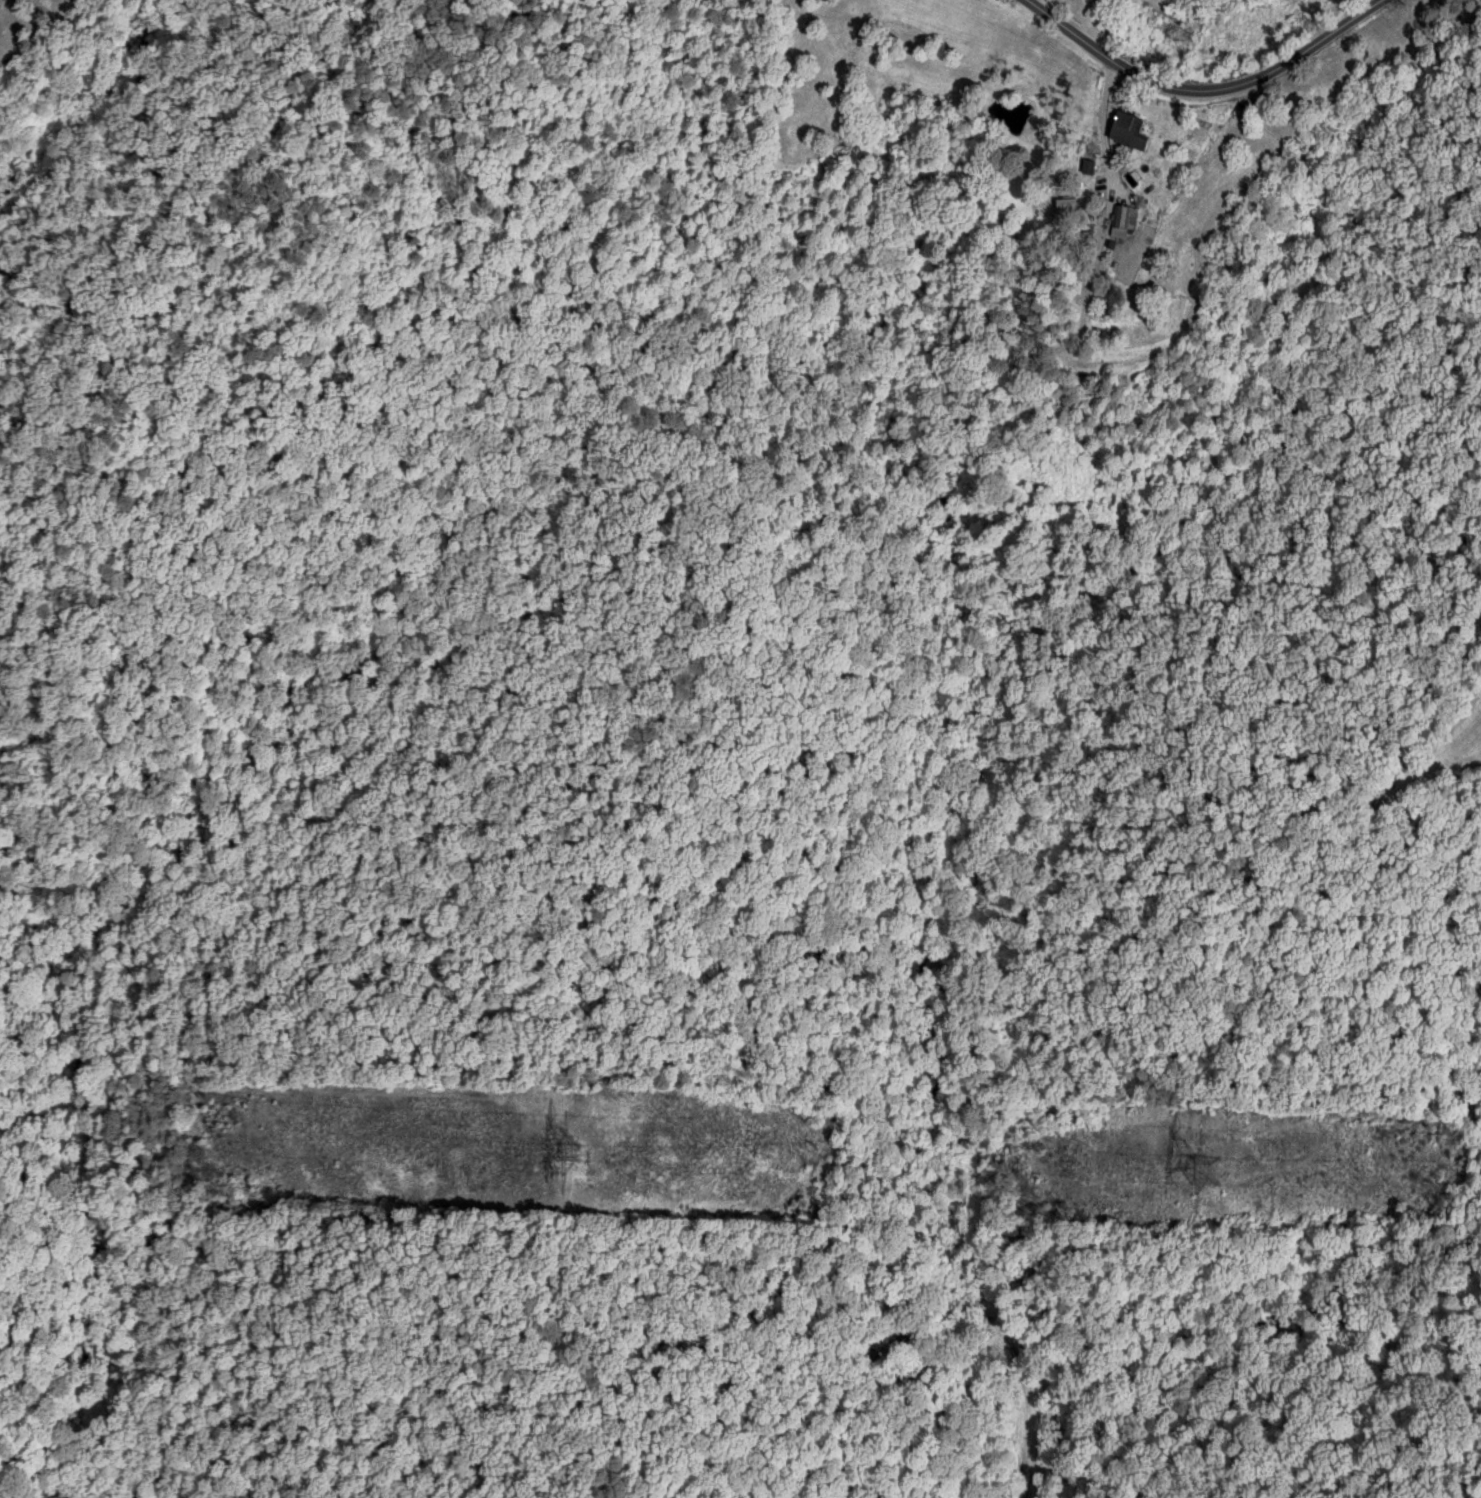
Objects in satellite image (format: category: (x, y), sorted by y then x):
road: (1207, 91)
building: (1128, 128)
building: (1086, 166)
building: (1122, 219)
power tower: (569, 1150)
power tower: (1208, 1173)

